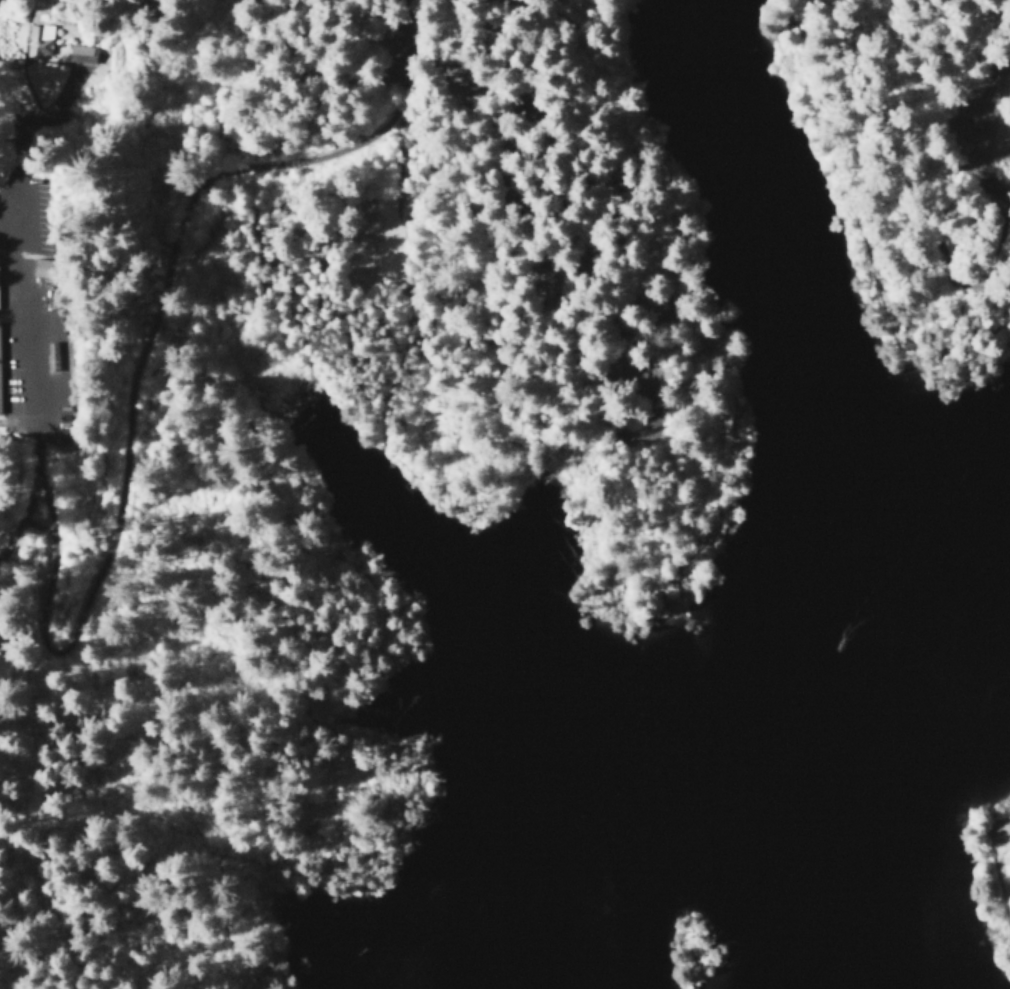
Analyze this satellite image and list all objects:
road: (527, 17)
building: (37, 39)
building: (80, 53)
parking lot: (974, 121)
road: (970, 128)
road: (488, 154)
road: (974, 227)
road: (876, 244)
building: (42, 267)
road: (402, 295)
road: (141, 348)
building: (50, 350)
road: (583, 408)
road: (639, 522)
road: (667, 541)
road: (682, 554)
road: (285, 691)

